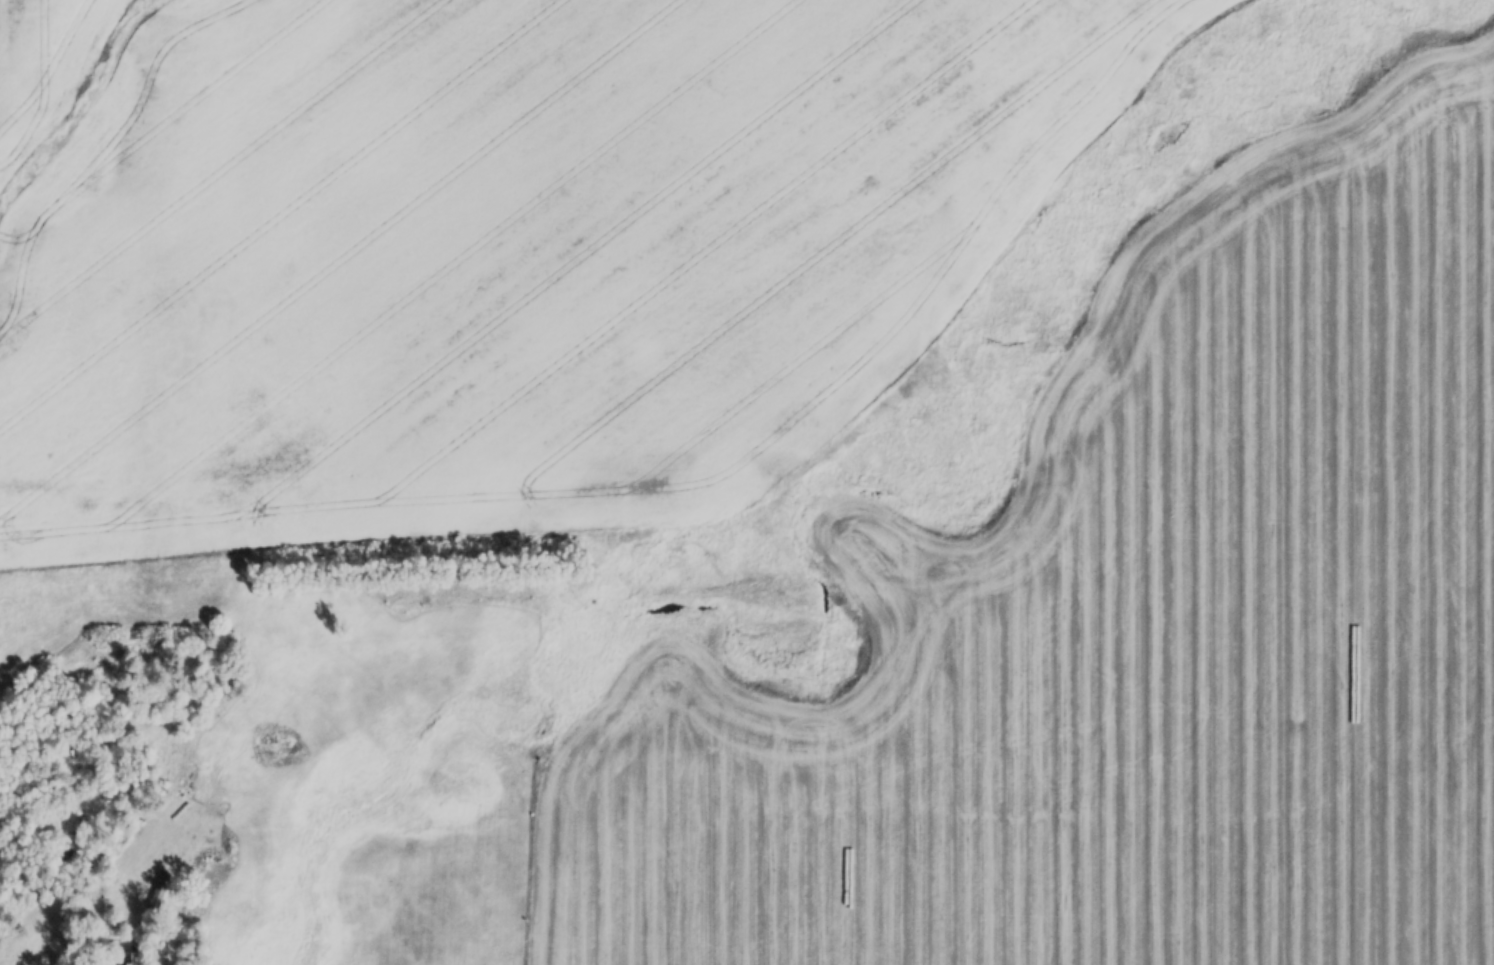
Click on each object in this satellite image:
road: (58, 948)

